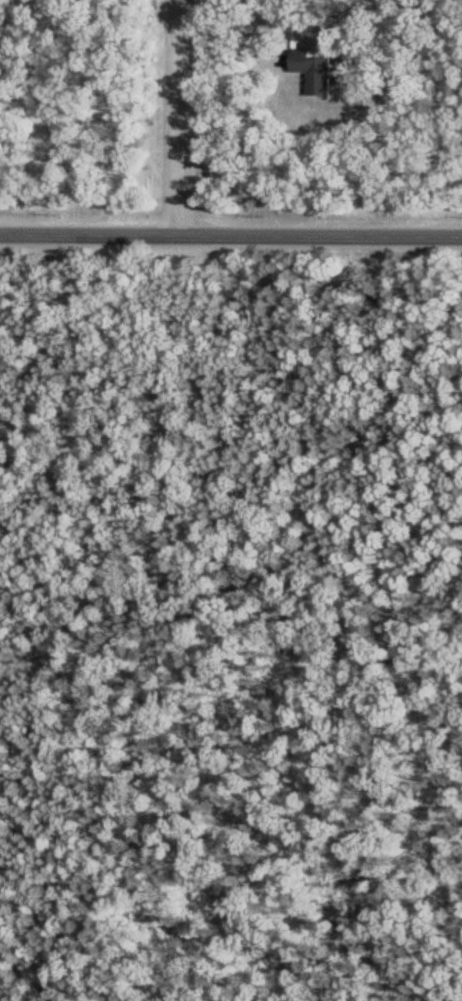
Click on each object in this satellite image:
building: (319, 68)
road: (179, 116)
road: (230, 233)

